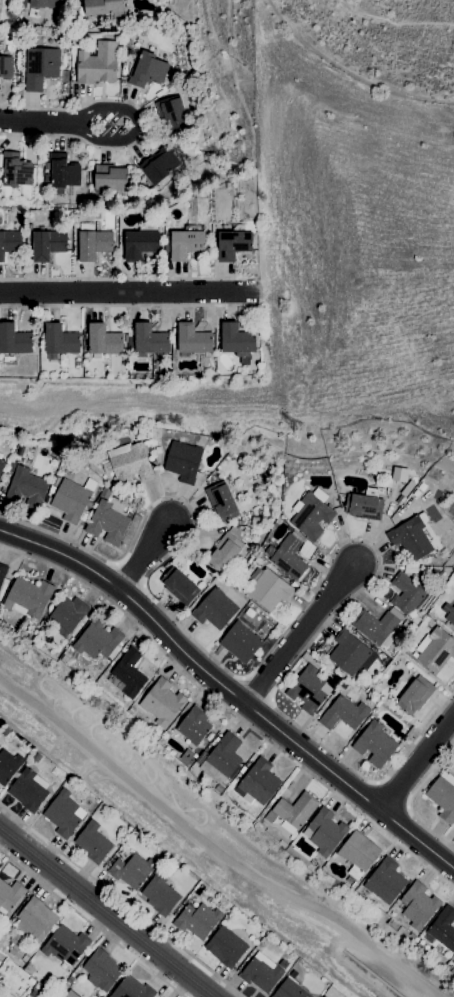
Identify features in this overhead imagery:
building: (43, 3)
building: (102, 6)
building: (97, 63)
building: (5, 66)
building: (40, 66)
building: (148, 70)
building: (171, 113)
road: (37, 121)
road: (130, 134)
building: (158, 164)
building: (16, 170)
building: (63, 170)
building: (110, 177)
building: (9, 241)
building: (93, 243)
building: (185, 243)
building: (47, 244)
building: (139, 244)
building: (232, 244)
road: (127, 290)
building: (192, 338)
building: (13, 339)
building: (59, 339)
building: (103, 339)
building: (150, 339)
building: (236, 339)
power tower: (301, 429)
building: (182, 460)
building: (129, 463)
building: (1, 464)
building: (399, 474)
building: (25, 485)
building: (70, 500)
building: (221, 501)
building: (363, 506)
building: (311, 514)
building: (107, 521)
building: (410, 537)
building: (226, 548)
road: (152, 551)
building: (288, 557)
building: (2, 571)
building: (178, 585)
building: (269, 590)
building: (406, 593)
building: (28, 597)
building: (214, 609)
building: (447, 611)
building: (68, 612)
building: (377, 626)
road: (311, 630)
building: (97, 640)
building: (240, 641)
building: (435, 649)
building: (348, 652)
building: (127, 673)
road: (236, 684)
building: (308, 689)
building: (414, 695)
building: (161, 701)
building: (343, 713)
building: (194, 725)
building: (375, 743)
building: (225, 755)
building: (7, 765)
road: (416, 765)
building: (208, 769)
building: (257, 782)
building: (28, 788)
building: (443, 796)
building: (295, 809)
building: (63, 813)
building: (324, 831)
building: (92, 841)
road: (212, 848)
building: (358, 850)
building: (131, 870)
building: (355, 872)
building: (385, 880)
building: (159, 894)
building: (8, 896)
building: (418, 904)
road: (106, 913)
building: (35, 919)
building: (197, 920)
building: (443, 927)
building: (65, 945)
building: (225, 946)
building: (101, 970)
building: (260, 972)
building: (131, 988)
building: (289, 989)

